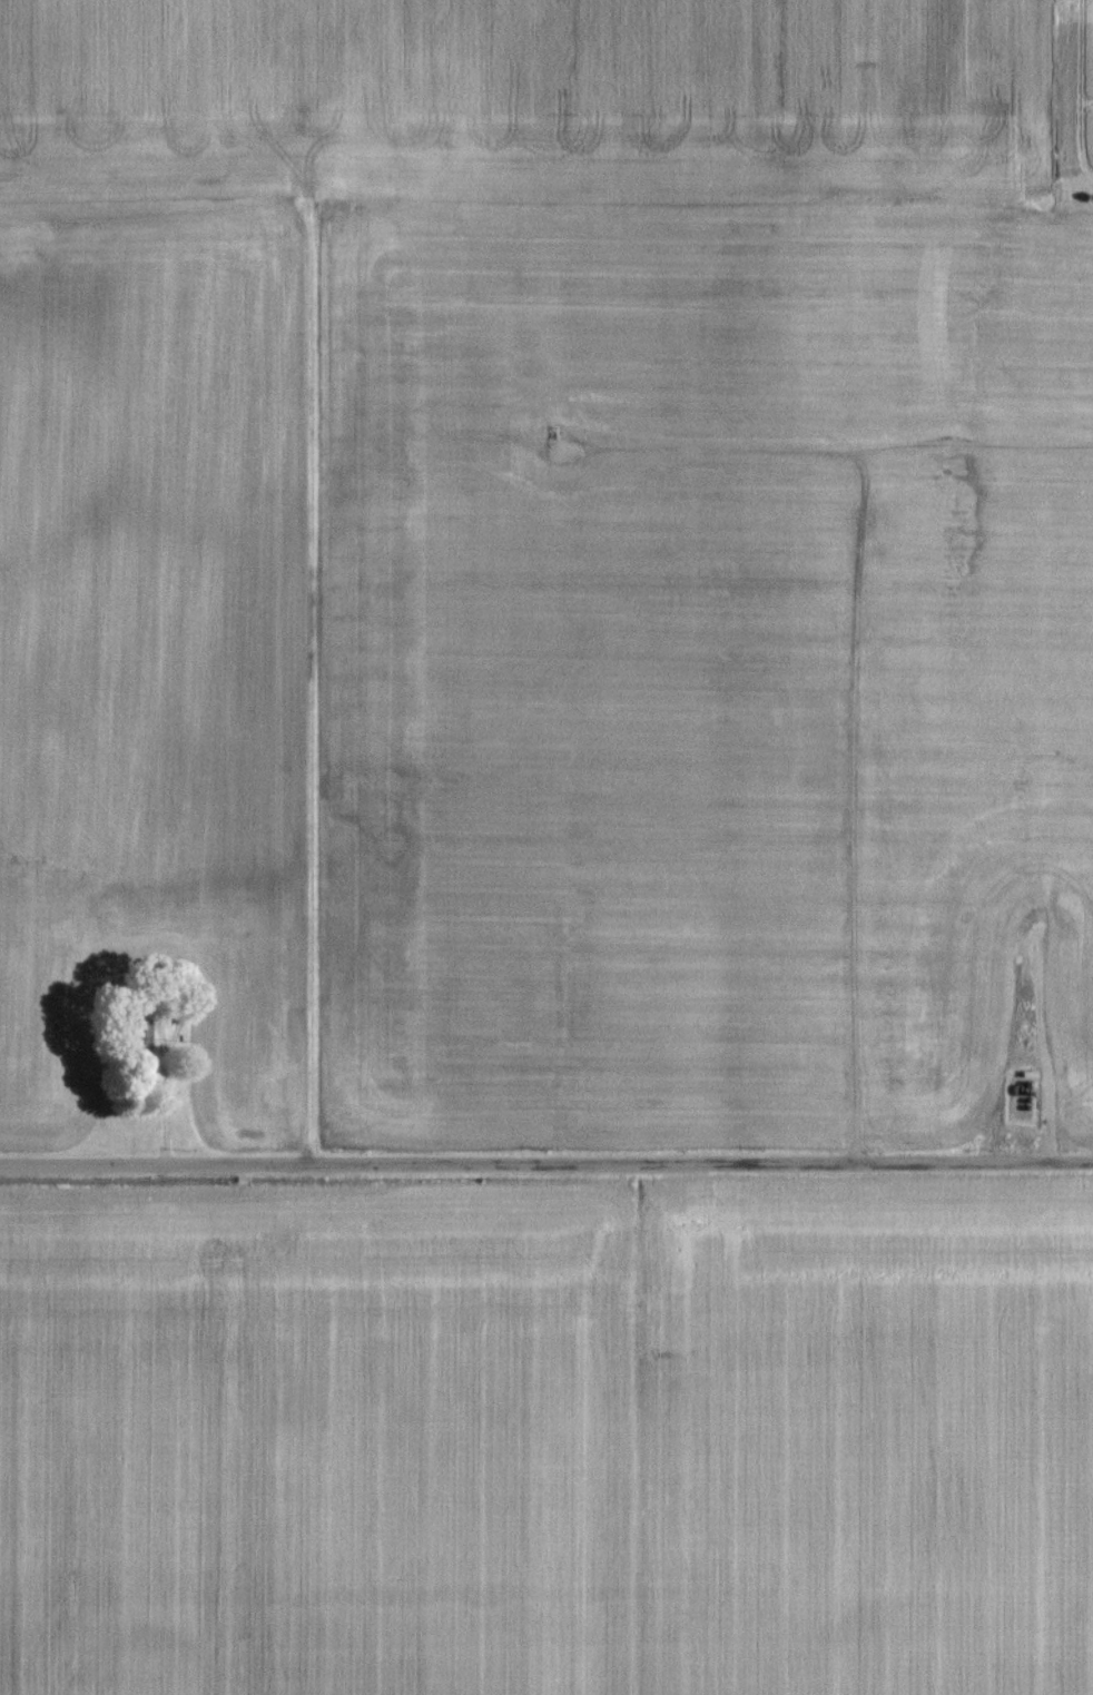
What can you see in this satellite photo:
road: (860, 697)
building: (138, 1044)
road: (545, 1170)

